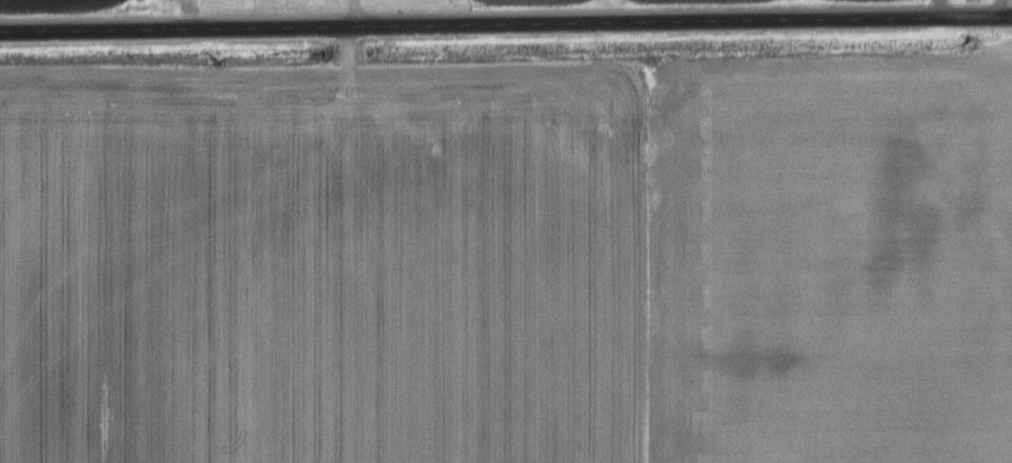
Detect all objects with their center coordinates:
road: (350, 13)
road: (506, 23)

